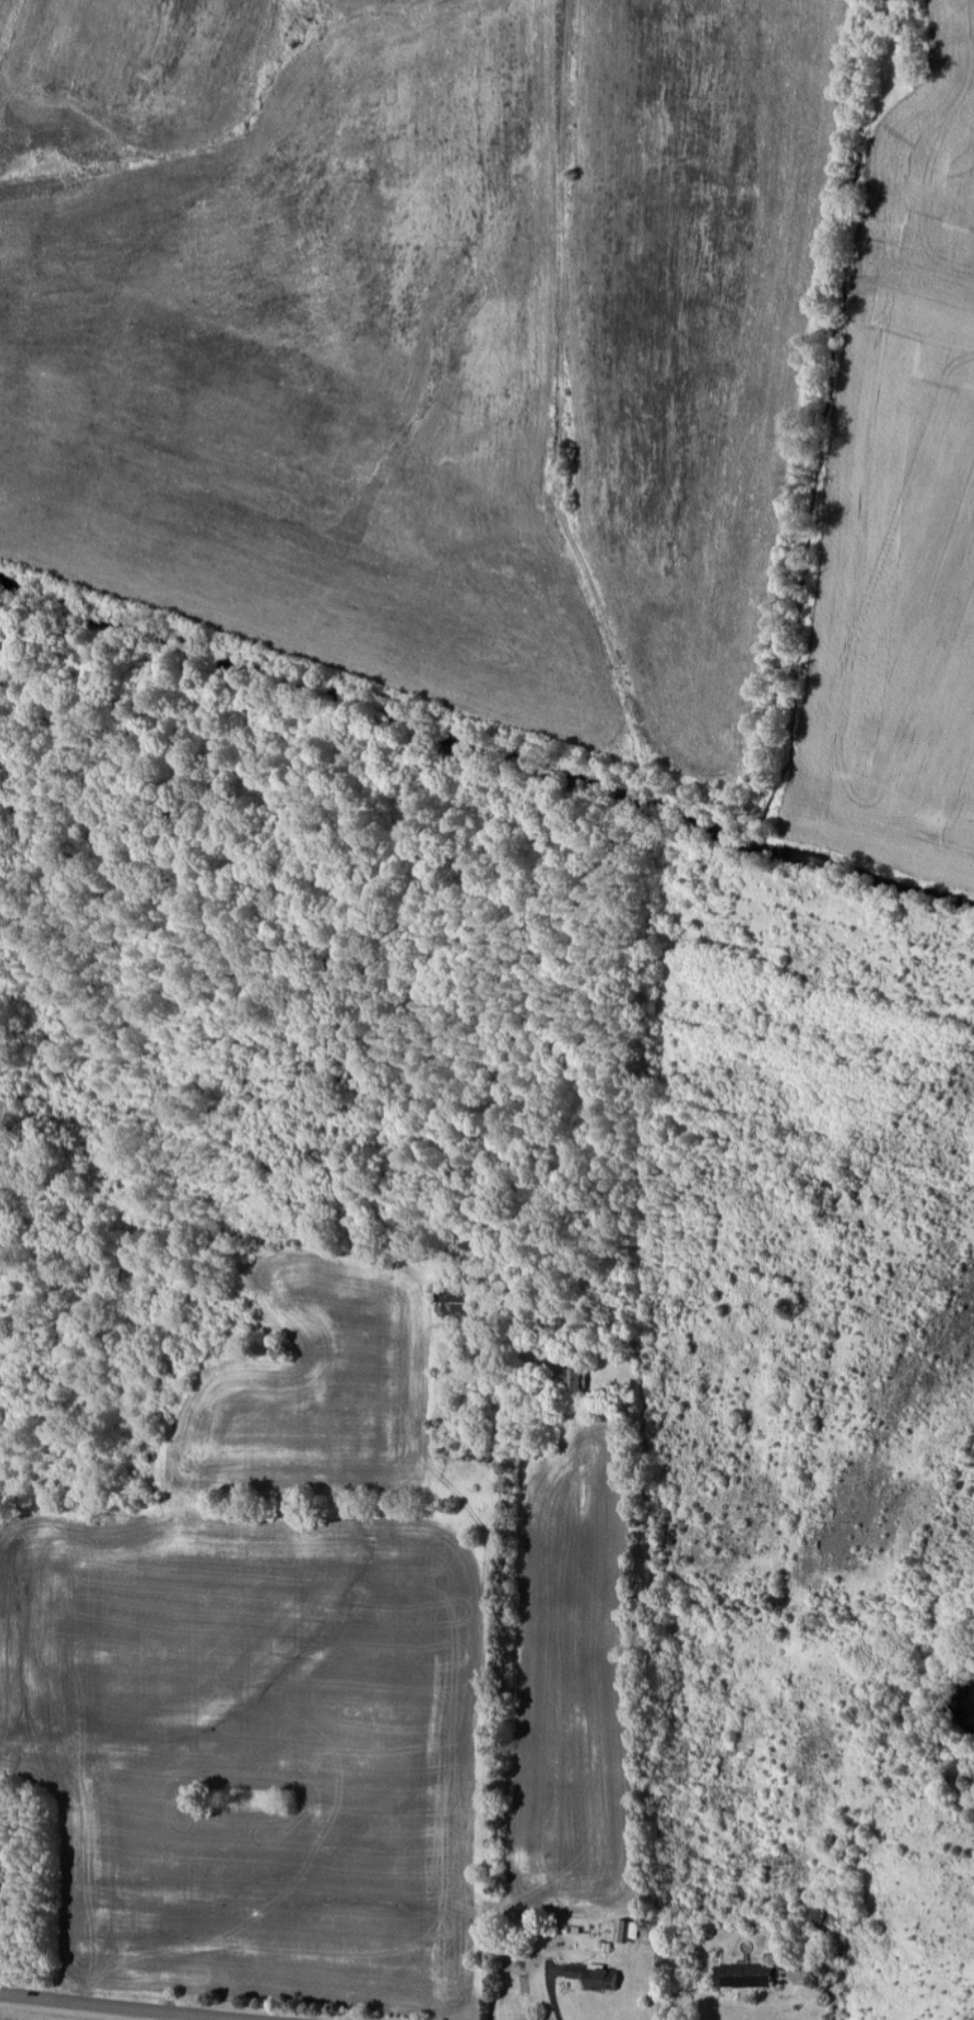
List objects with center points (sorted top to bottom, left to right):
road: (662, 1000)
building: (630, 1931)
building: (749, 1977)
building: (598, 1978)
road: (115, 2007)

